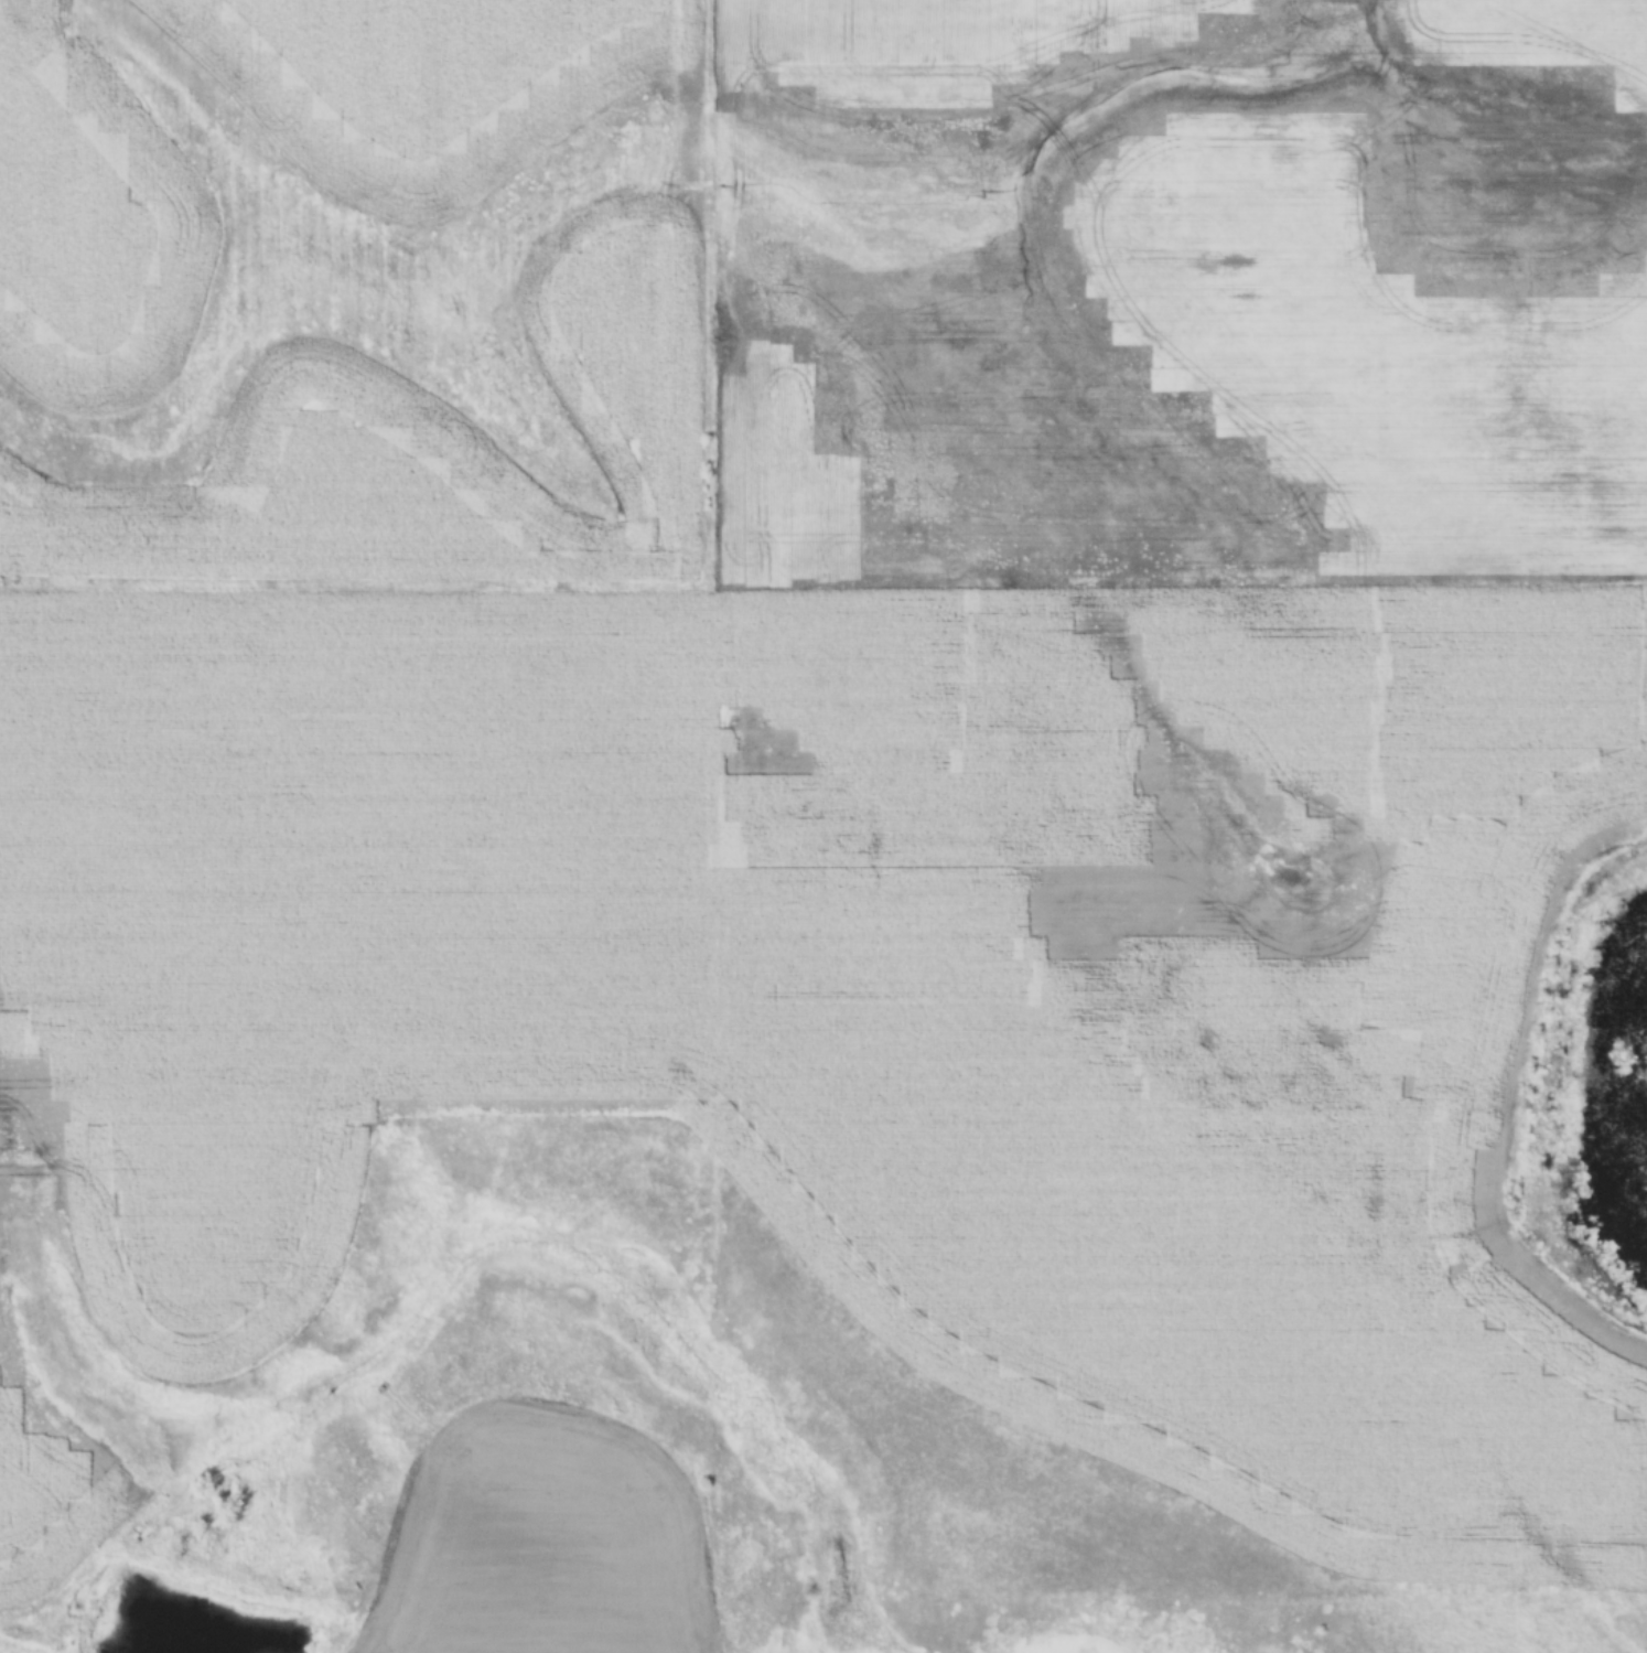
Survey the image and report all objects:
building: (1063, 1584)

